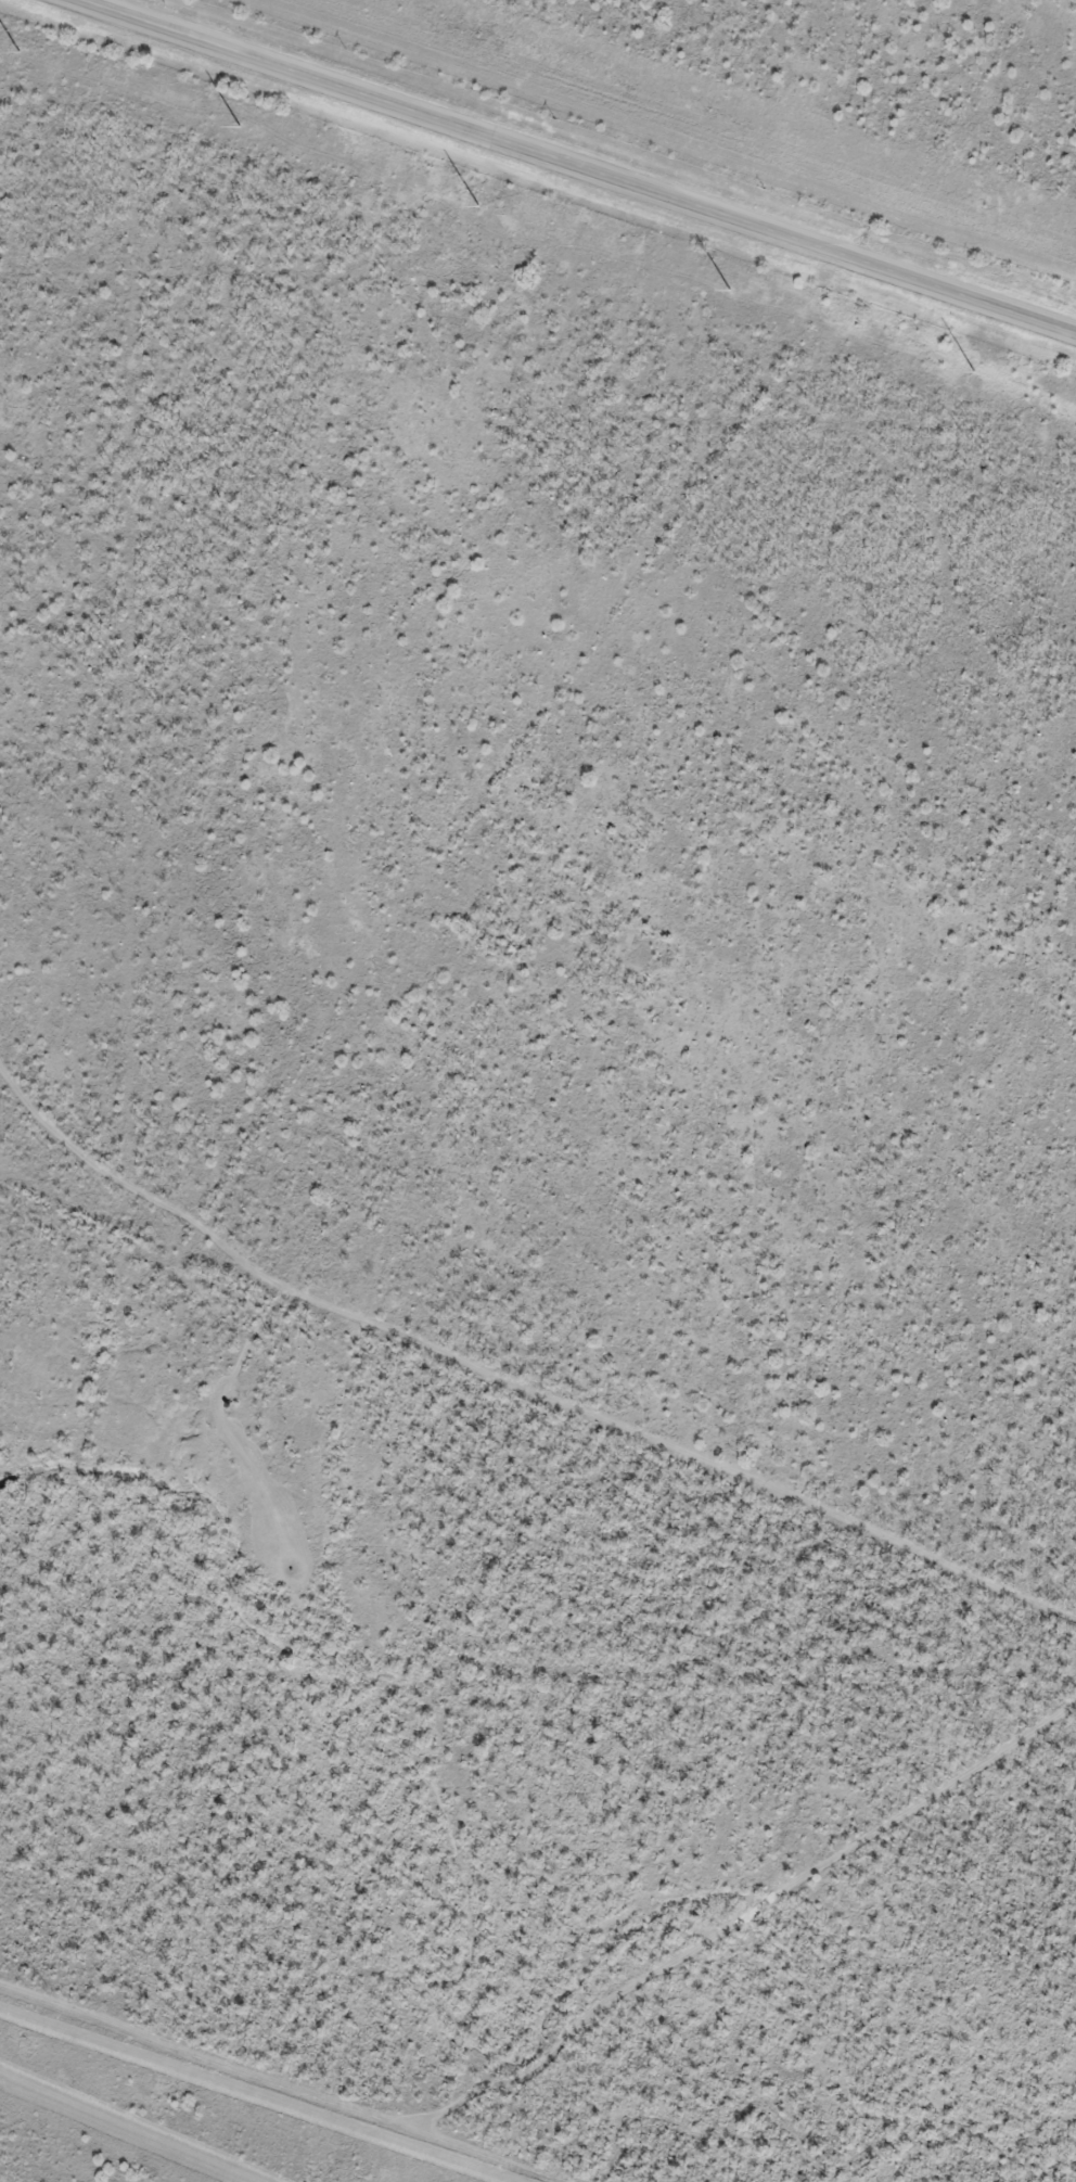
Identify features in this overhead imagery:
power tower: (17, 52)
power tower: (241, 126)
road: (577, 165)
power tower: (478, 207)
power tower: (731, 290)
power tower: (975, 369)

